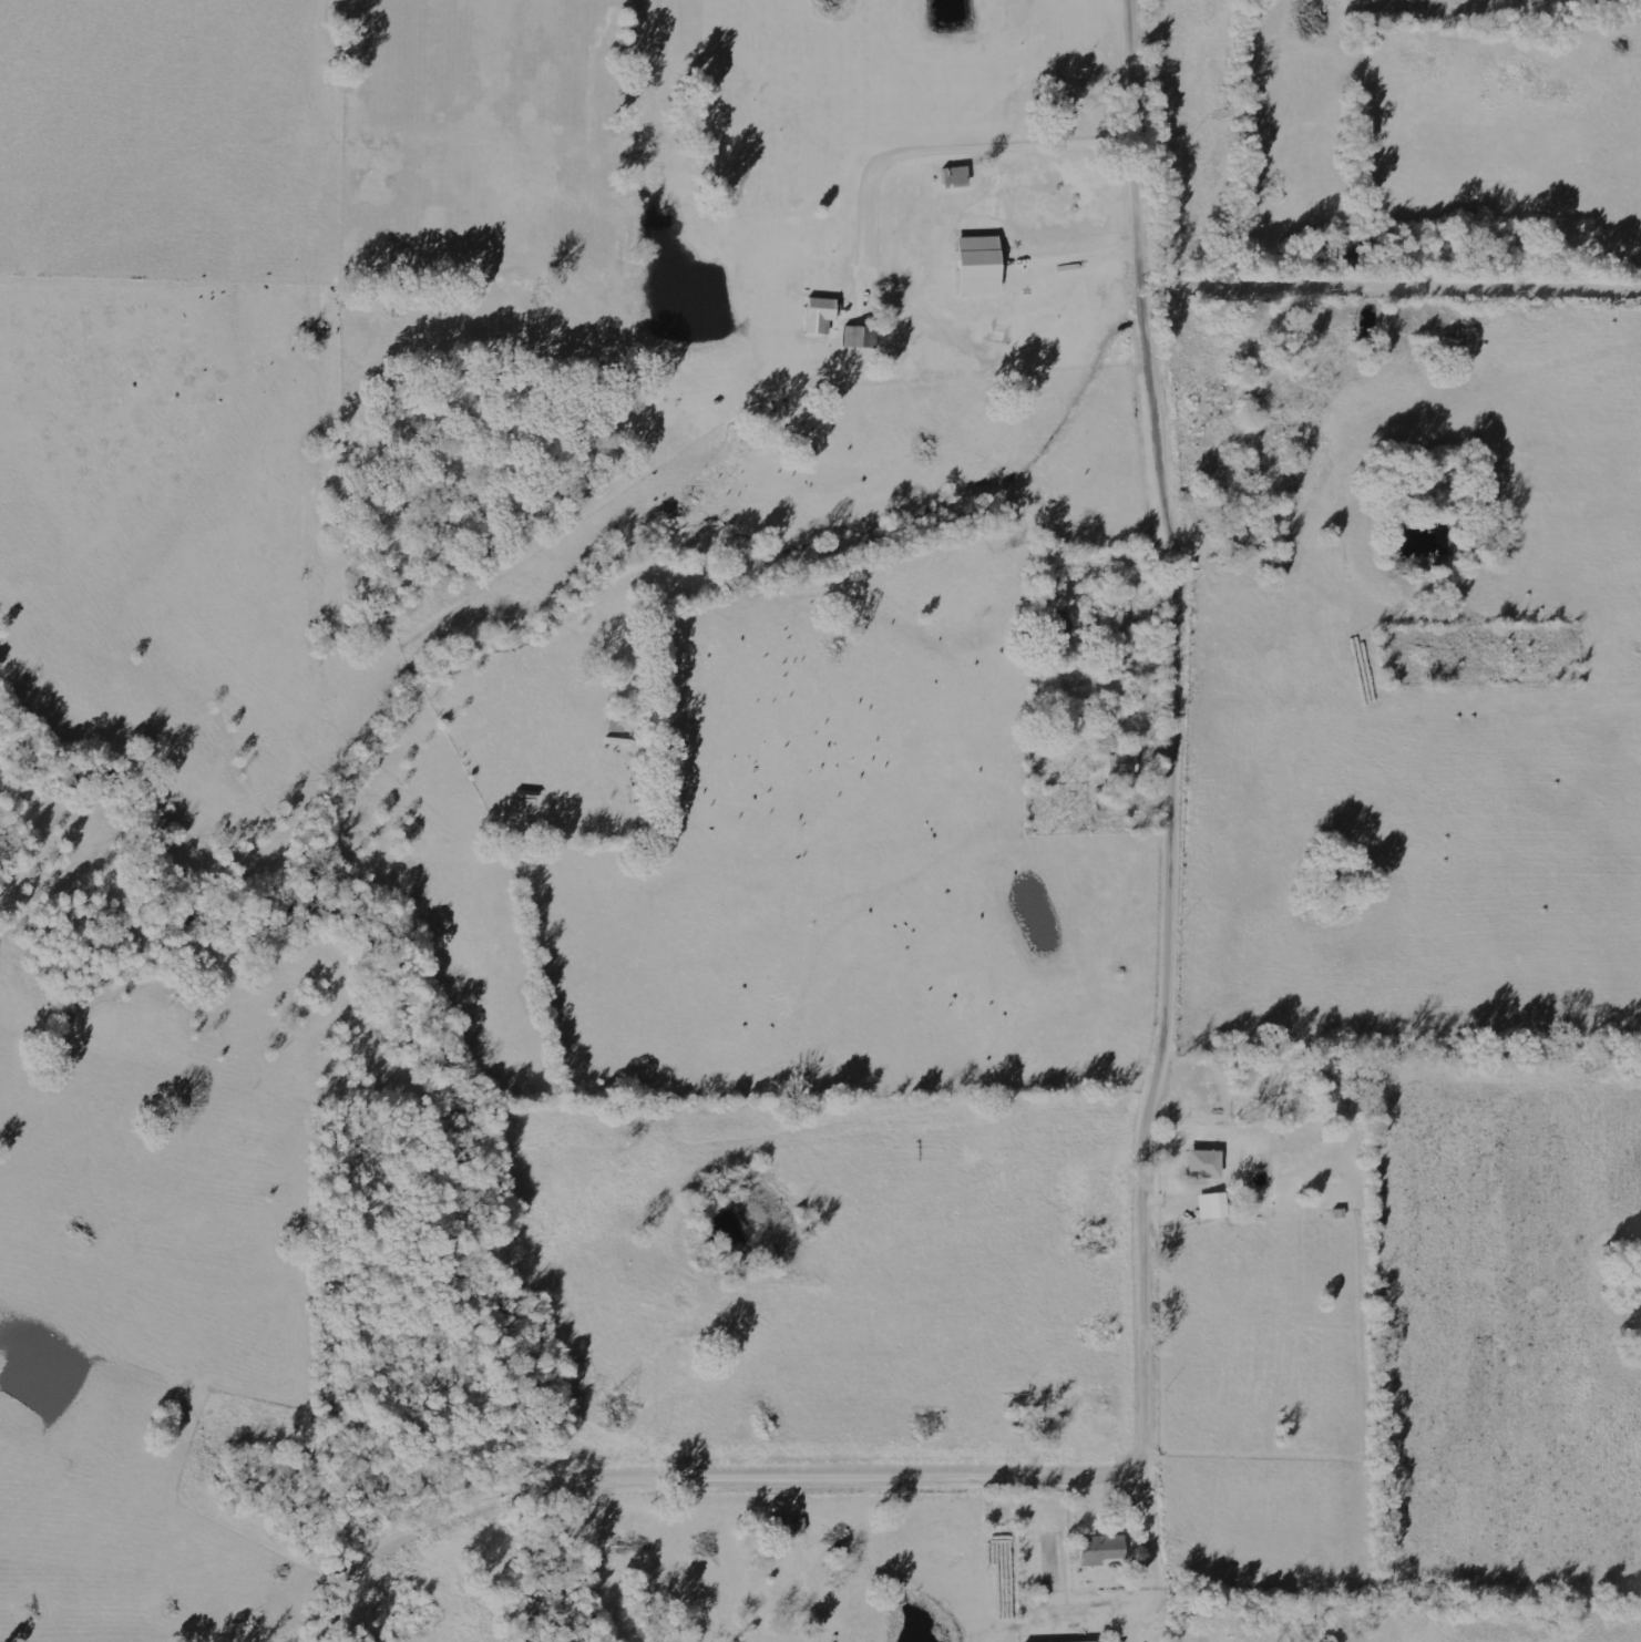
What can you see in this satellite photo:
building: (972, 265)
building: (814, 317)
building: (1112, 766)
building: (1200, 1163)
road: (1151, 1181)
building: (1209, 1205)
building: (1097, 1550)

